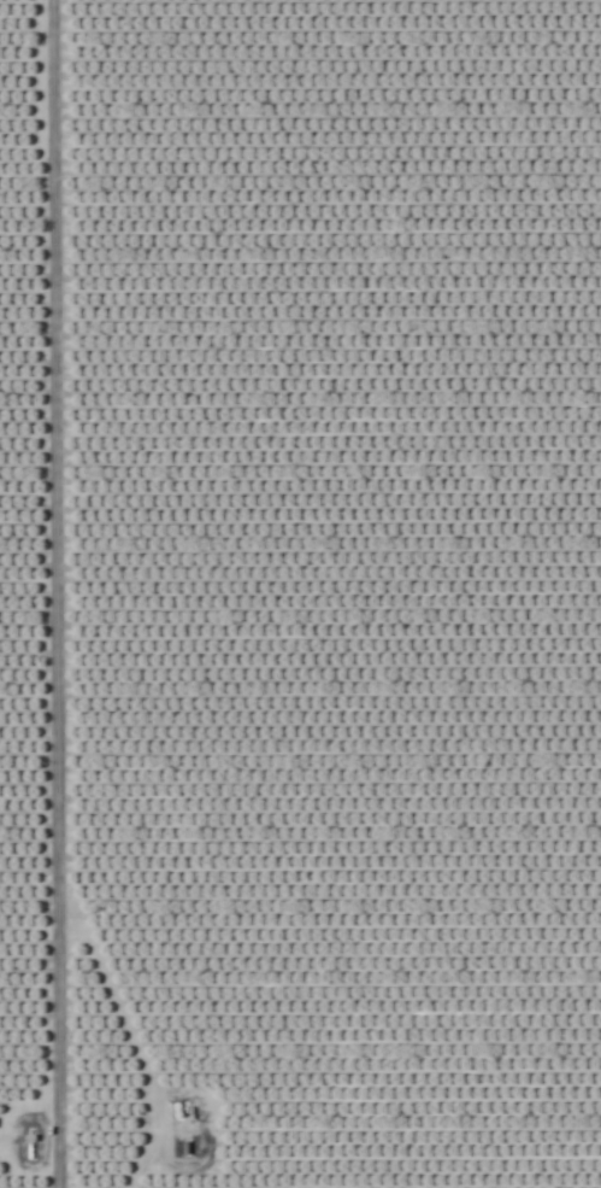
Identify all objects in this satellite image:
road: (49, 593)
crop: (300, 593)

